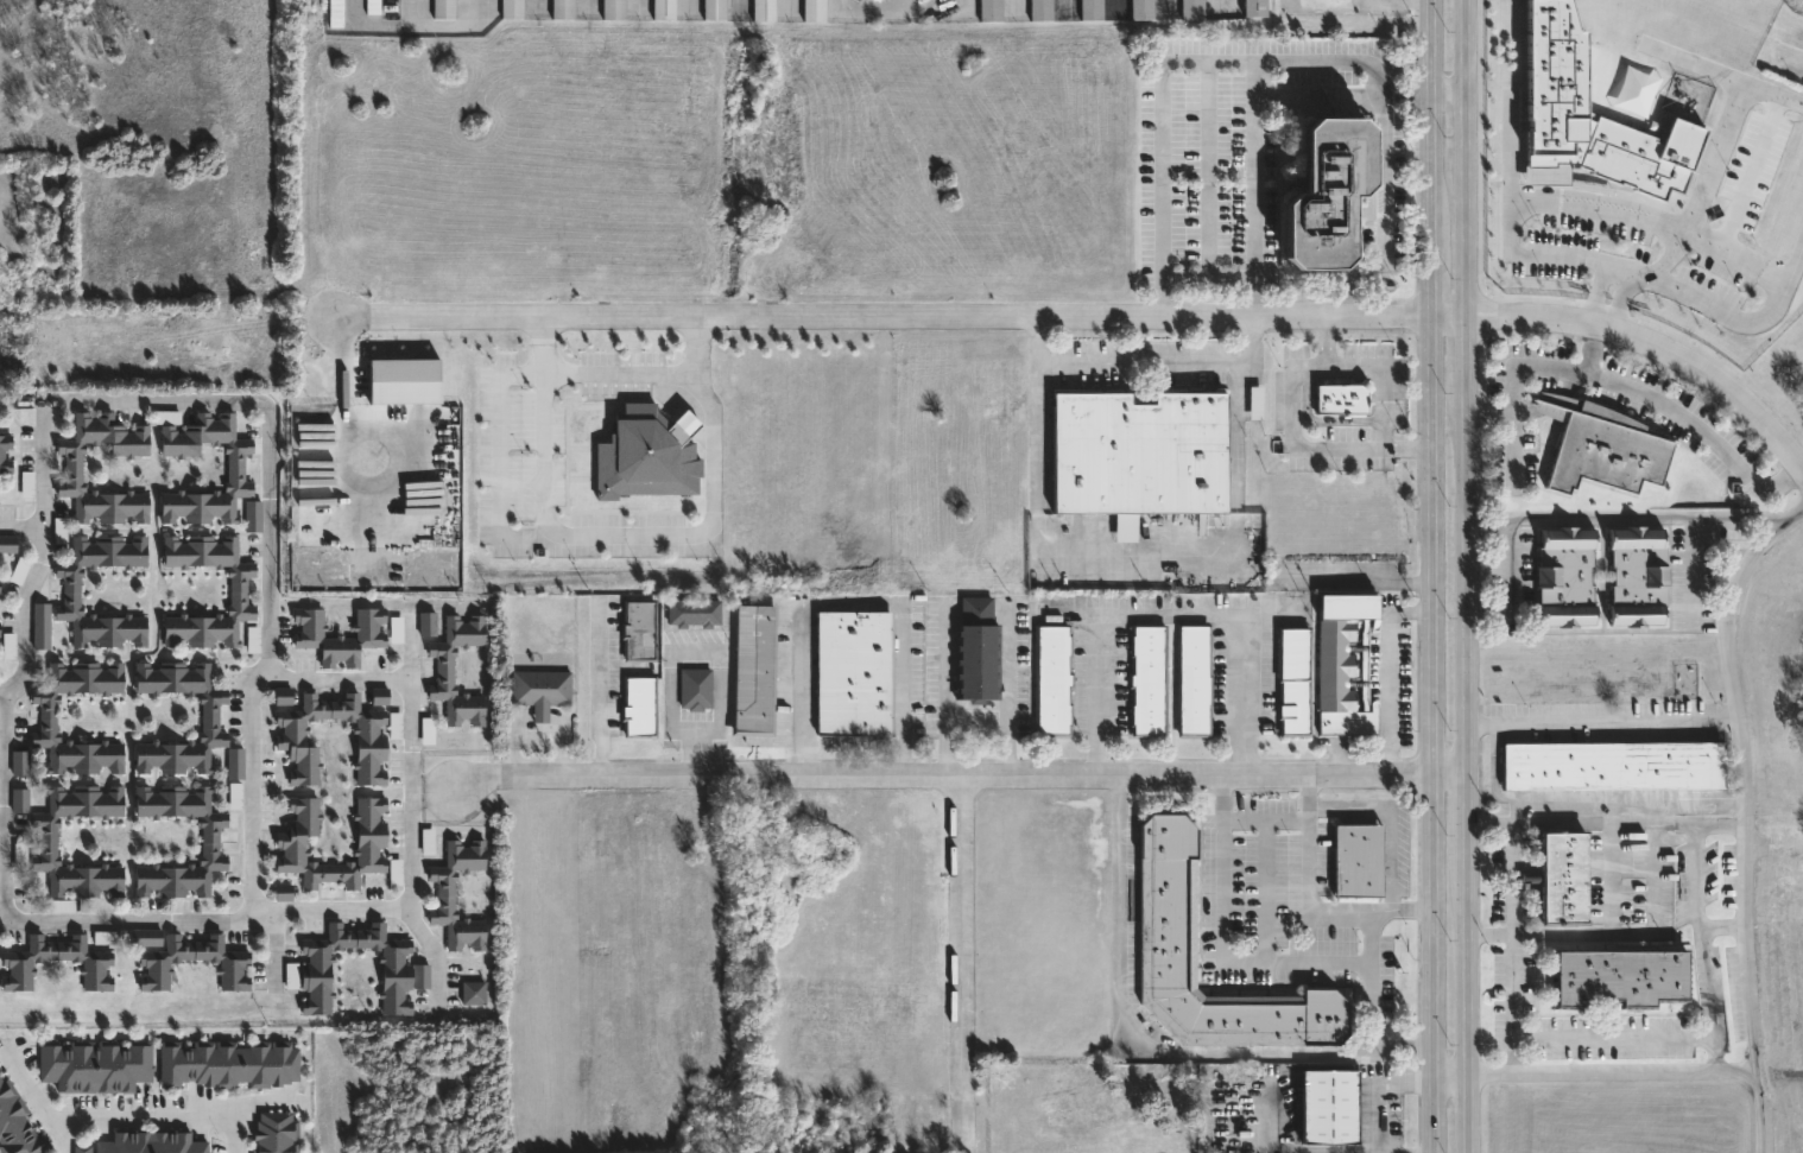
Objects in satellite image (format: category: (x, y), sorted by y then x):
road: (1406, 0)
building: (373, 6)
building: (1253, 7)
building: (443, 8)
building: (511, 8)
building: (562, 8)
building: (613, 8)
building: (663, 8)
building: (1140, 8)
building: (1190, 8)
building: (714, 9)
building: (763, 9)
building: (814, 9)
building: (988, 9)
building: (1039, 9)
building: (1089, 9)
building: (335, 12)
road: (1179, 62)
building: (1555, 74)
road: (1761, 89)
road: (1449, 95)
road: (1733, 109)
road: (1752, 161)
road: (1210, 169)
road: (1257, 188)
building: (1331, 192)
road: (1388, 215)
road: (1677, 237)
road: (1795, 262)
road: (1626, 273)
road: (1209, 275)
road: (1598, 299)
road: (1619, 304)
road: (899, 319)
road: (1655, 347)
road: (1165, 363)
road: (1523, 366)
road: (625, 376)
road: (1377, 379)
building: (404, 381)
road: (1569, 382)
building: (1341, 398)
road: (1551, 401)
road: (140, 403)
road: (1525, 411)
road: (1293, 430)
road: (1700, 430)
building: (1601, 446)
building: (6, 450)
road: (1511, 452)
building: (647, 455)
building: (1139, 455)
building: (74, 464)
building: (235, 468)
road: (1631, 518)
road: (24, 526)
road: (626, 537)
building: (7, 541)
road: (1035, 552)
road: (1435, 576)
road: (1466, 576)
building: (1567, 577)
building: (1638, 577)
road: (1353, 582)
road: (1510, 584)
building: (71, 588)
building: (238, 588)
road: (849, 601)
building: (694, 612)
road: (1170, 615)
building: (428, 621)
building: (42, 622)
building: (394, 629)
building: (639, 629)
building: (339, 633)
building: (976, 650)
road: (714, 657)
road: (942, 664)
building: (1345, 664)
building: (445, 666)
building: (754, 666)
building: (854, 672)
road: (1393, 672)
road: (1006, 673)
road: (341, 676)
building: (1052, 679)
building: (1147, 679)
building: (1194, 680)
building: (1295, 680)
building: (695, 688)
building: (540, 689)
building: (379, 696)
road: (599, 697)
building: (639, 705)
building: (209, 714)
building: (49, 715)
road: (1605, 717)
road: (974, 728)
building: (291, 729)
road: (1494, 758)
building: (19, 760)
building: (235, 760)
building: (1613, 764)
road: (962, 775)
road: (1564, 793)
road: (1687, 793)
building: (234, 796)
building: (20, 797)
road: (411, 807)
road: (1347, 810)
road: (1607, 819)
road: (1750, 823)
building: (210, 837)
building: (49, 838)
building: (426, 838)
building: (291, 845)
building: (1356, 859)
road: (1390, 862)
building: (1563, 874)
road: (1611, 876)
building: (283, 892)
building: (444, 892)
building: (1168, 898)
road: (1511, 898)
road: (331, 904)
building: (61, 905)
road: (1307, 906)
road: (140, 917)
road: (1728, 925)
road: (1638, 932)
building: (106, 937)
building: (145, 937)
road: (1368, 940)
road: (1703, 945)
road: (1276, 959)
road: (960, 963)
building: (234, 973)
building: (405, 973)
building: (17, 974)
building: (1619, 974)
building: (473, 990)
road: (1512, 1002)
road: (1126, 1028)
road: (1611, 1035)
building: (229, 1060)
building: (95, 1063)
road: (1598, 1072)
road: (1381, 1092)
road: (36, 1095)
building: (1329, 1103)
road: (181, 1119)
building: (15, 1121)
road: (238, 1130)
building: (274, 1130)
building: (151, 1141)
building: (82, 1148)

